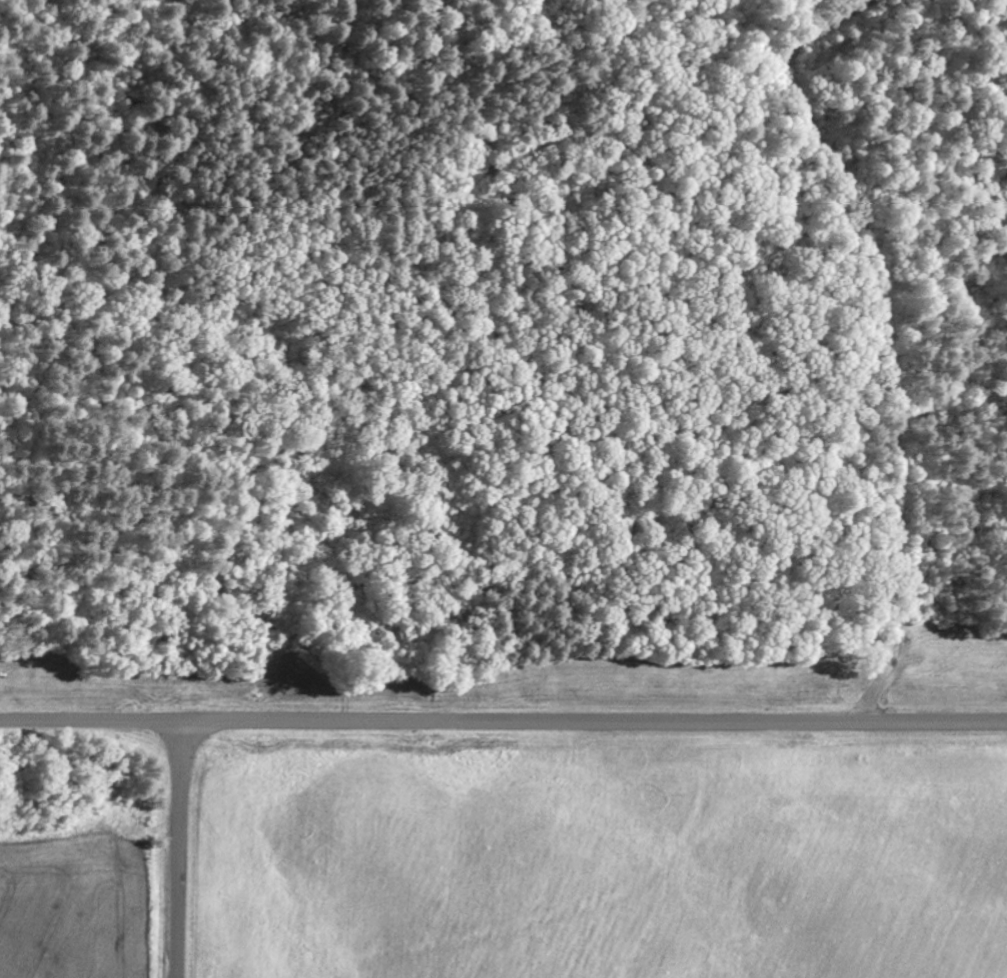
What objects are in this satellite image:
road: (503, 723)
road: (182, 783)
road: (179, 910)

